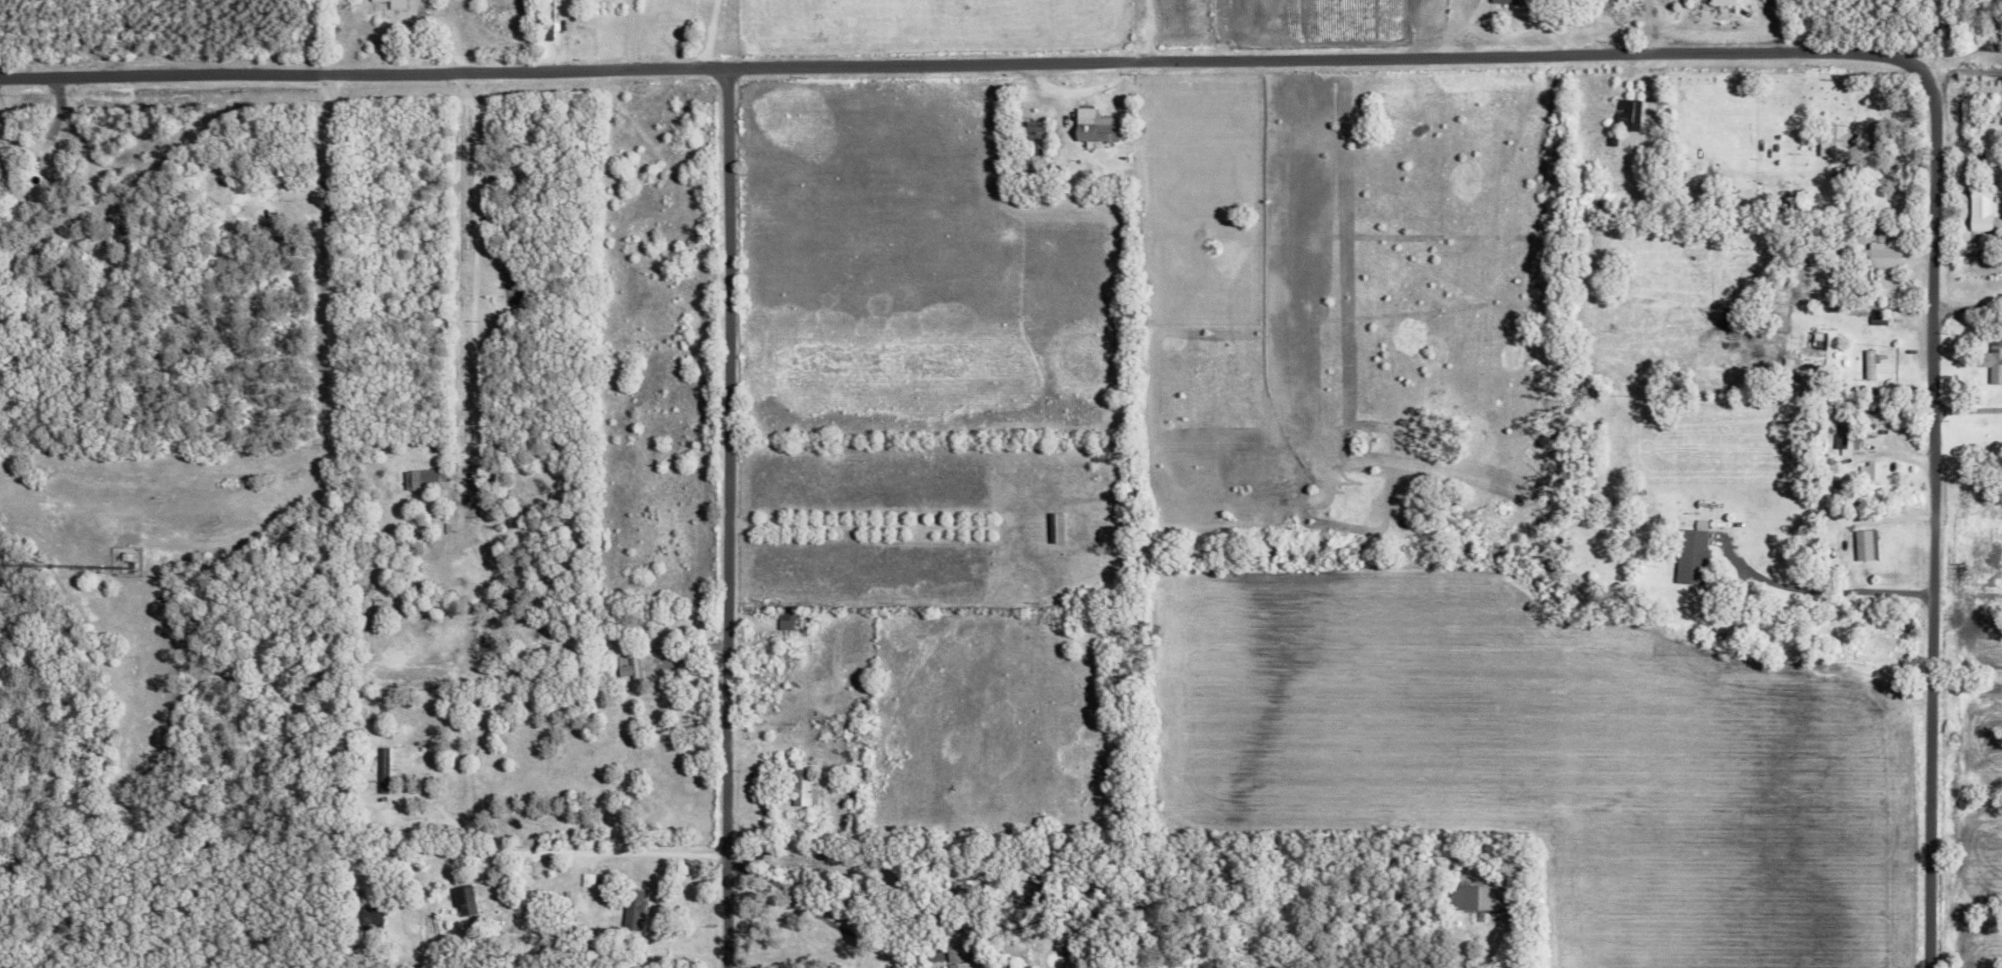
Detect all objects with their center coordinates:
building: (1511, 2)
building: (1723, 2)
building: (394, 3)
building: (549, 20)
road: (1150, 37)
road: (626, 41)
road: (703, 41)
road: (1414, 69)
road: (1968, 71)
building: (1629, 113)
building: (1095, 126)
building: (1034, 129)
building: (1835, 142)
building: (1981, 207)
building: (112, 228)
building: (1884, 254)
road: (335, 314)
building: (1994, 359)
building: (1870, 363)
road: (1970, 410)
building: (1852, 432)
building: (421, 479)
road: (734, 524)
road: (869, 524)
building: (1054, 527)
building: (1866, 544)
building: (1691, 556)
road: (1825, 588)
building: (787, 619)
building: (629, 669)
building: (382, 769)
building: (802, 789)
road: (560, 851)
building: (586, 880)
building: (1479, 898)
building: (462, 899)
road: (799, 903)
building: (632, 909)
building: (371, 918)
building: (956, 956)

